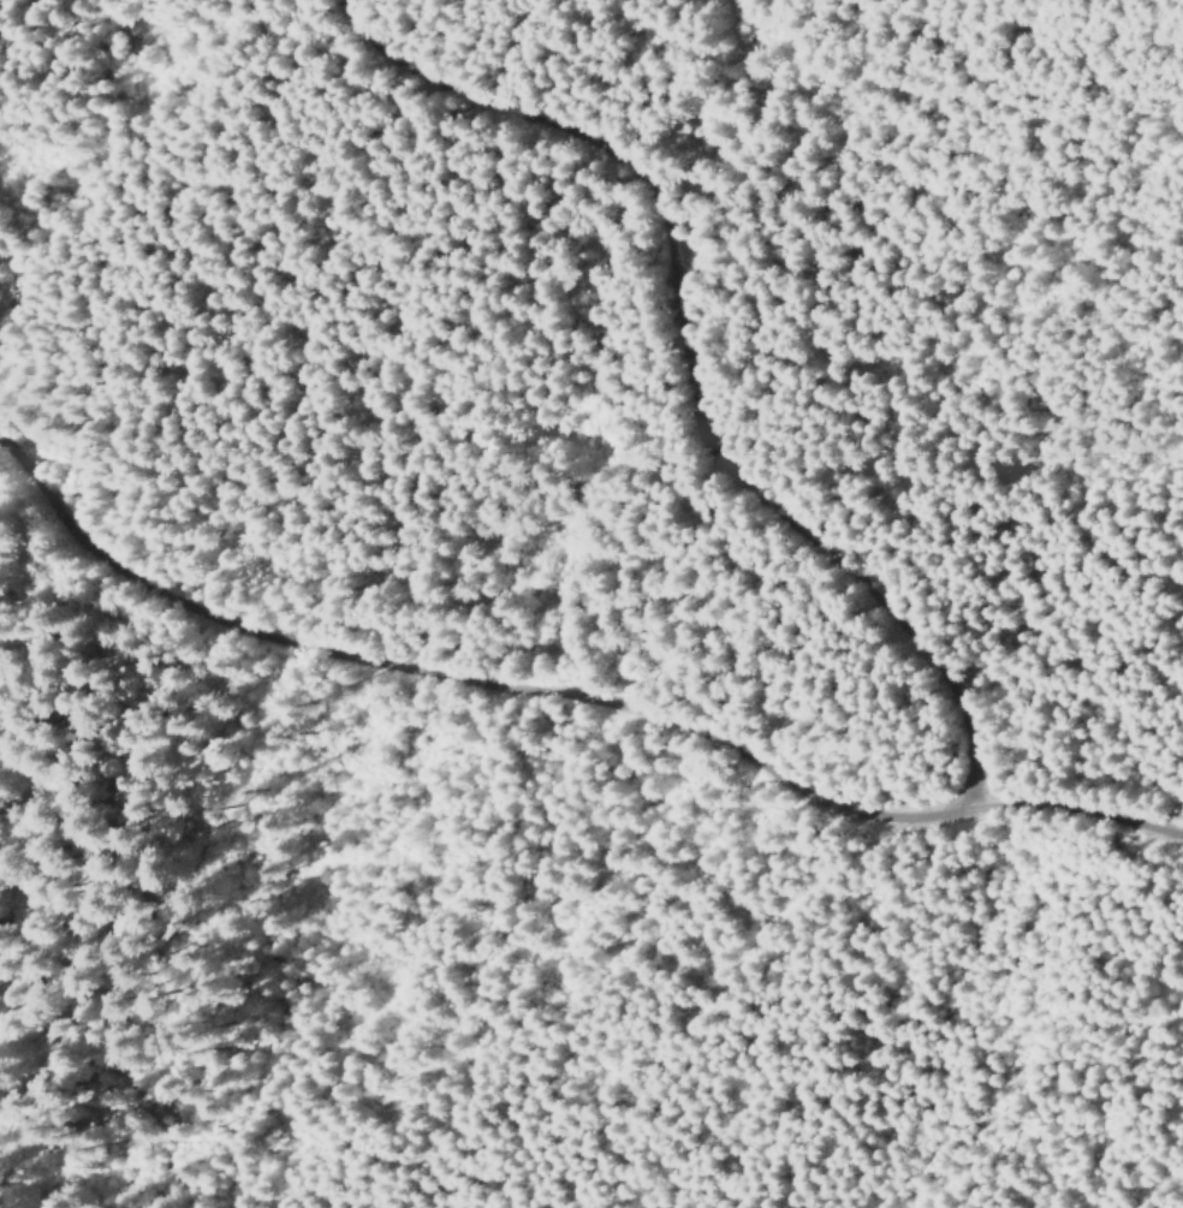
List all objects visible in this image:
road: (682, 370)
road: (566, 692)

